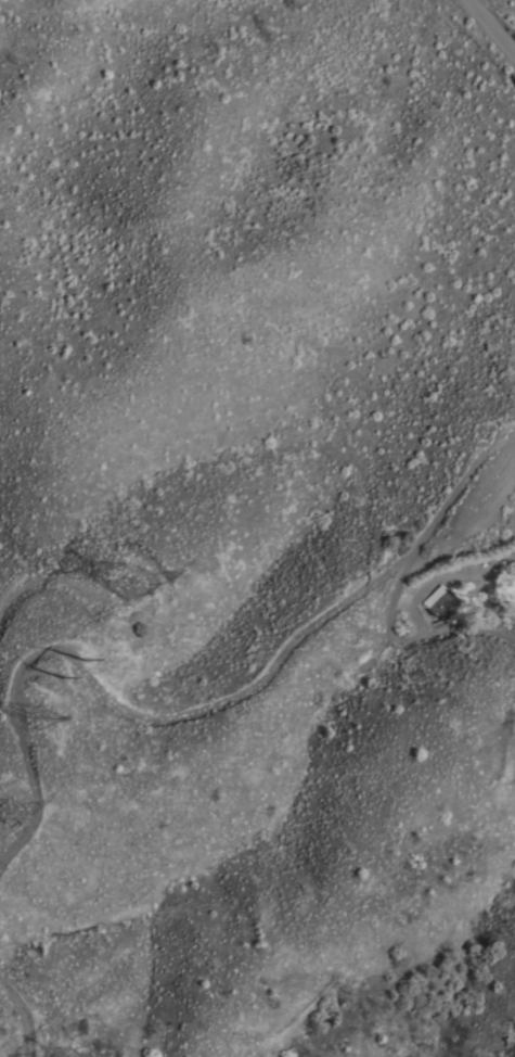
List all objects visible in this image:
road: (490, 30)
road: (397, 575)
power tower: (129, 581)
building: (439, 600)
power tower: (72, 662)
power tower: (38, 713)
power tower: (12, 811)
power tower: (77, 1055)

